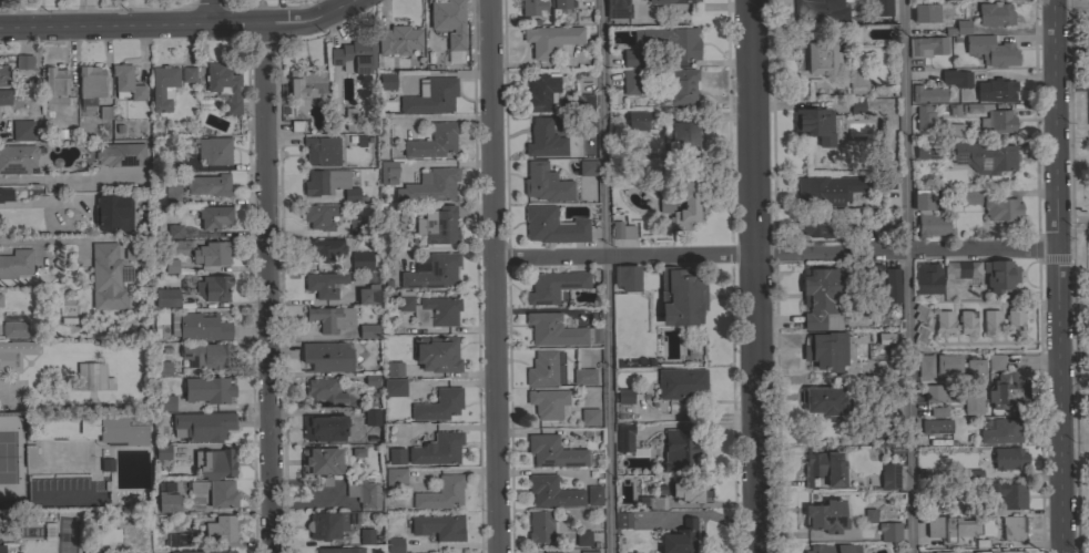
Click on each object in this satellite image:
building: (670, 1)
building: (561, 4)
building: (532, 7)
building: (882, 8)
building: (618, 9)
road: (210, 10)
building: (825, 10)
building: (925, 12)
building: (994, 13)
building: (448, 21)
road: (179, 22)
building: (959, 28)
building: (398, 40)
building: (551, 40)
building: (670, 40)
building: (926, 47)
building: (990, 51)
building: (354, 55)
building: (633, 58)
building: (822, 58)
building: (23, 62)
building: (1087, 65)
building: (3, 73)
building: (187, 73)
road: (1017, 75)
building: (955, 78)
building: (633, 80)
building: (857, 80)
building: (91, 81)
building: (125, 82)
building: (383, 82)
building: (307, 83)
building: (223, 84)
building: (57, 85)
building: (163, 85)
building: (680, 85)
building: (995, 90)
building: (539, 92)
building: (925, 93)
building: (431, 96)
building: (4, 98)
building: (583, 102)
building: (855, 105)
building: (1088, 115)
building: (924, 117)
building: (349, 119)
building: (635, 120)
building: (999, 121)
building: (586, 123)
building: (814, 124)
building: (22, 131)
building: (682, 137)
building: (544, 139)
building: (432, 141)
building: (214, 150)
building: (926, 150)
building: (322, 151)
building: (121, 154)
building: (985, 156)
building: (17, 158)
building: (172, 162)
building: (588, 167)
building: (388, 172)
road: (63, 178)
building: (884, 182)
building: (544, 183)
building: (329, 184)
building: (210, 185)
building: (430, 185)
building: (826, 188)
building: (172, 194)
building: (4, 195)
building: (584, 196)
building: (966, 196)
road: (43, 204)
building: (689, 204)
building: (1000, 208)
building: (110, 212)
building: (319, 215)
building: (214, 216)
building: (927, 216)
building: (808, 225)
building: (438, 226)
building: (552, 226)
building: (357, 227)
building: (621, 229)
building: (174, 231)
building: (324, 249)
building: (131, 250)
road: (776, 252)
building: (211, 254)
building: (362, 260)
building: (17, 264)
building: (171, 266)
building: (960, 269)
building: (434, 273)
building: (999, 275)
road: (492, 276)
road: (604, 276)
road: (757, 276)
road: (907, 276)
road: (1061, 276)
building: (625, 277)
building: (106, 278)
building: (873, 278)
building: (927, 278)
building: (324, 284)
building: (553, 285)
road: (268, 286)
building: (892, 286)
building: (212, 288)
building: (367, 294)
building: (166, 297)
building: (680, 297)
building: (821, 298)
building: (0, 300)
building: (428, 310)
building: (919, 313)
building: (330, 318)
building: (1015, 321)
building: (943, 322)
building: (967, 322)
building: (990, 322)
building: (199, 327)
building: (13, 329)
building: (368, 330)
building: (559, 330)
building: (919, 334)
building: (885, 338)
building: (826, 350)
building: (436, 354)
building: (13, 355)
building: (206, 355)
building: (327, 357)
building: (996, 362)
building: (948, 363)
building: (925, 365)
building: (162, 368)
building: (543, 368)
building: (394, 369)
building: (975, 371)
building: (584, 376)
building: (92, 377)
building: (370, 380)
building: (681, 383)
building: (394, 387)
building: (207, 390)
building: (323, 391)
building: (933, 392)
building: (1008, 392)
building: (624, 396)
building: (824, 401)
building: (973, 401)
building: (164, 402)
building: (547, 402)
building: (438, 404)
building: (934, 413)
building: (372, 417)
building: (589, 417)
building: (202, 426)
building: (936, 426)
building: (115, 428)
building: (324, 428)
building: (999, 431)
building: (883, 432)
building: (623, 438)
building: (936, 440)
building: (679, 448)
building: (437, 449)
building: (162, 452)
building: (553, 452)
building: (396, 455)
building: (30, 457)
building: (1008, 458)
building: (214, 463)
building: (322, 463)
building: (108, 464)
park: (6, 467)
building: (825, 469)
building: (973, 473)
building: (396, 475)
building: (889, 477)
building: (130, 487)
building: (197, 488)
building: (690, 490)
building: (552, 492)
building: (222, 493)
building: (364, 493)
building: (441, 493)
building: (1007, 494)
building: (593, 495)
building: (166, 498)
building: (652, 502)
building: (825, 516)
building: (865, 516)
building: (623, 520)
building: (329, 524)
building: (540, 525)
building: (439, 526)
building: (934, 526)
building: (960, 528)
building: (1012, 528)
building: (221, 529)
building: (889, 531)
building: (43, 533)
building: (65, 533)
building: (105, 535)
building: (366, 535)
building: (582, 537)
building: (680, 537)
building: (179, 540)
building: (389, 545)
building: (0, 549)
building: (834, 549)
building: (340, 550)
building: (551, 551)
building: (206, 552)
building: (589, 552)
building: (948, 552)
building: (1004, 552)

